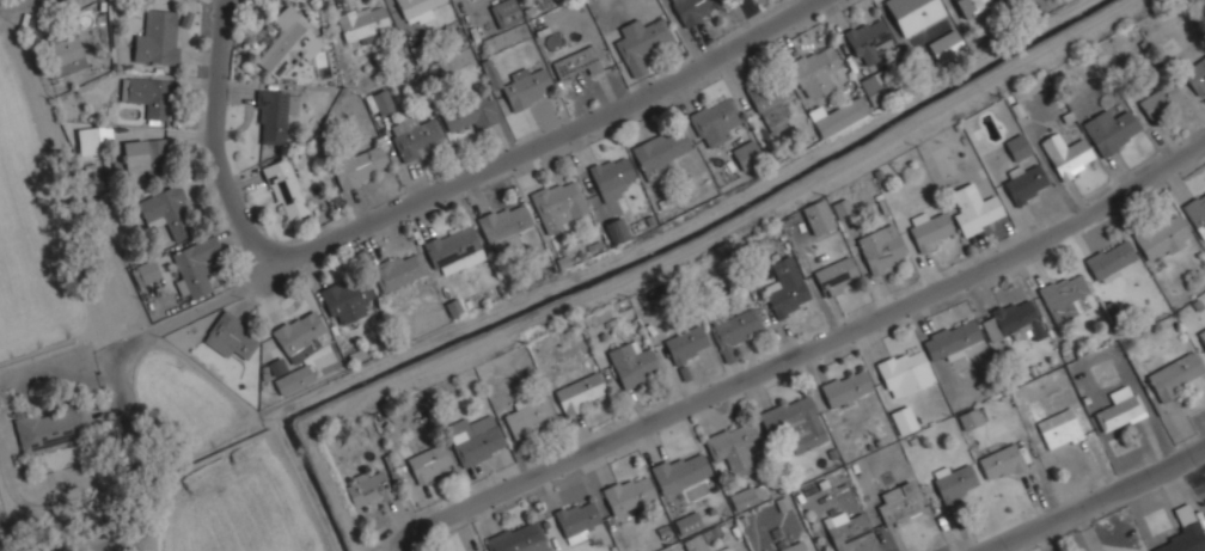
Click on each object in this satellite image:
building: (969, 6)
building: (416, 10)
building: (693, 10)
building: (504, 12)
building: (913, 13)
building: (361, 20)
building: (158, 37)
building: (867, 38)
building: (636, 43)
building: (288, 47)
building: (947, 47)
building: (61, 51)
building: (575, 62)
building: (816, 69)
building: (490, 73)
building: (1195, 73)
building: (524, 86)
building: (1029, 87)
building: (148, 93)
building: (1160, 99)
building: (380, 100)
building: (771, 102)
building: (470, 112)
building: (274, 114)
building: (840, 115)
building: (714, 121)
building: (1111, 130)
road: (562, 135)
building: (415, 136)
building: (92, 137)
building: (1017, 145)
road: (214, 147)
building: (659, 152)
building: (745, 153)
building: (135, 154)
building: (1068, 157)
building: (360, 166)
building: (611, 176)
building: (1026, 182)
building: (285, 189)
building: (558, 203)
building: (842, 208)
building: (973, 208)
building: (165, 209)
building: (1197, 213)
building: (818, 215)
building: (503, 224)
building: (617, 227)
building: (929, 229)
building: (1162, 237)
building: (880, 247)
building: (452, 249)
crop: (24, 258)
building: (1109, 258)
building: (194, 265)
building: (145, 270)
building: (397, 270)
building: (836, 275)
building: (785, 289)
building: (1063, 294)
building: (345, 300)
building: (1010, 319)
building: (735, 326)
building: (298, 335)
building: (230, 336)
building: (952, 337)
building: (1201, 337)
building: (686, 343)
road: (805, 351)
building: (630, 363)
road: (118, 369)
building: (904, 372)
building: (1172, 372)
building: (293, 378)
building: (845, 386)
building: (580, 392)
building: (1119, 408)
building: (528, 415)
building: (968, 417)
building: (903, 418)
building: (794, 422)
building: (53, 427)
building: (1060, 433)
building: (476, 445)
building: (733, 445)
building: (1002, 461)
building: (429, 463)
building: (678, 472)
building: (954, 480)
building: (366, 488)
building: (626, 492)
building: (746, 495)
road: (1096, 501)
building: (898, 504)
building: (576, 518)
building: (687, 522)
building: (848, 529)
building: (1185, 532)
building: (516, 537)
building: (696, 543)
road: (118, 544)
building: (791, 546)
road: (399, 550)

